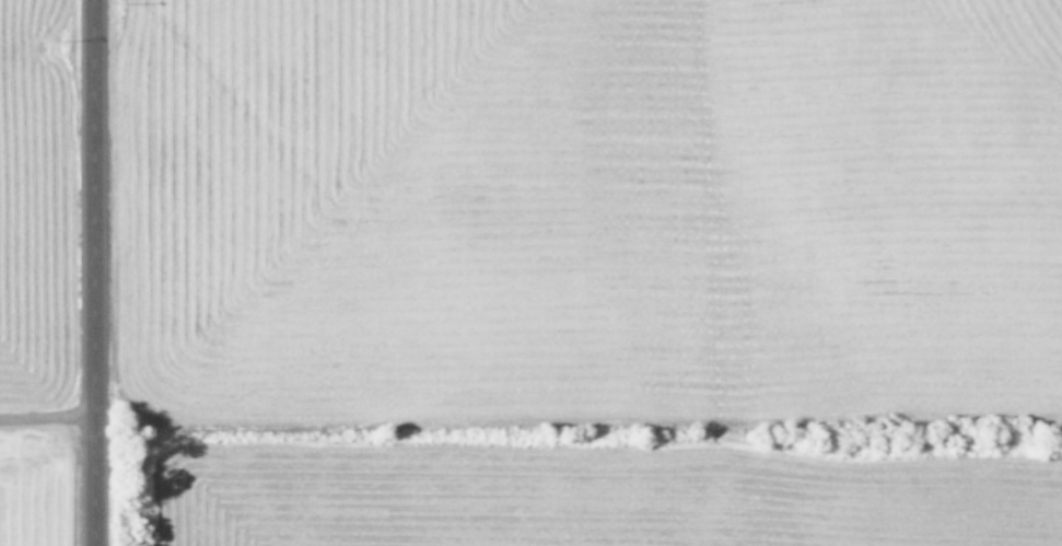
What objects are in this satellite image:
road: (91, 272)
road: (45, 417)

